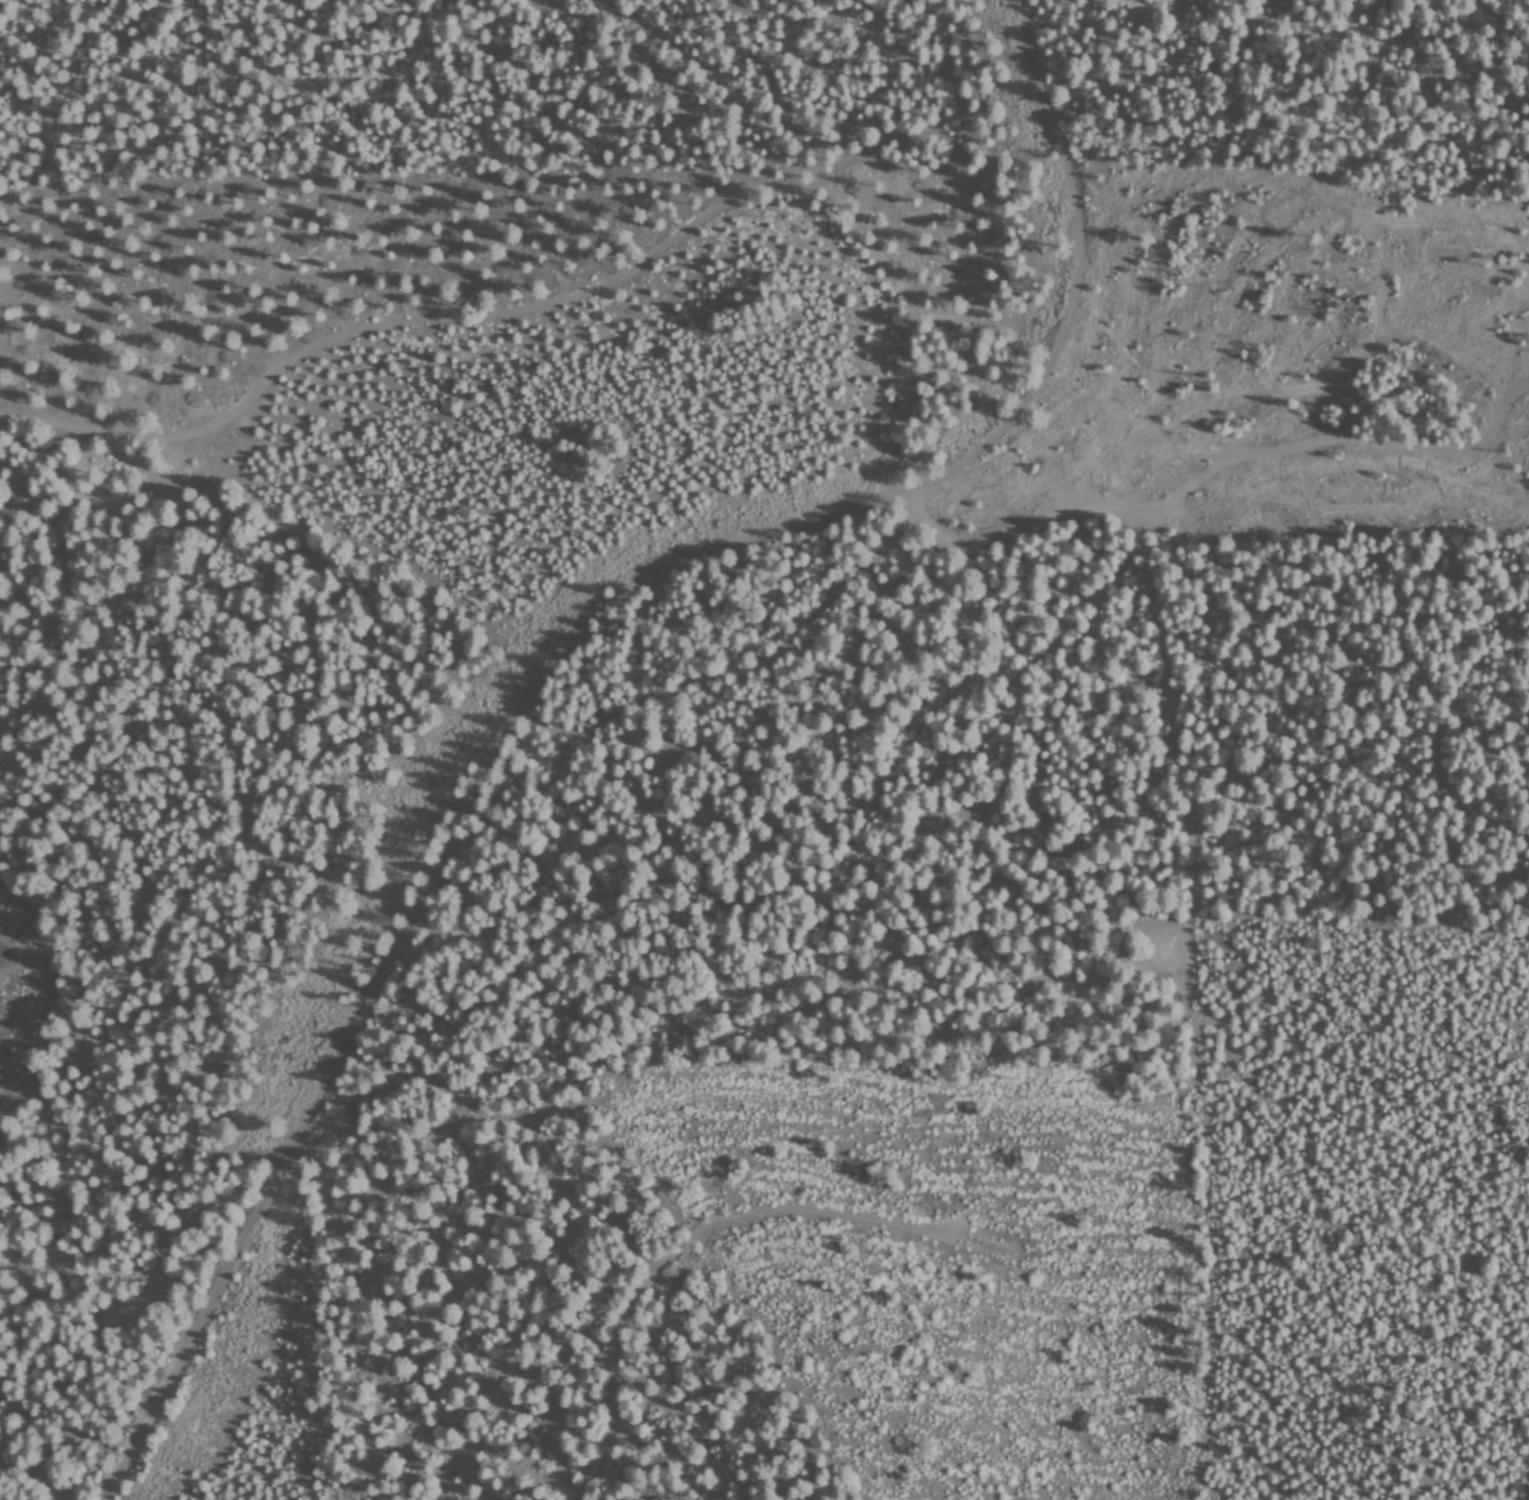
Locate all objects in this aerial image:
road: (673, 242)
road: (33, 1010)

